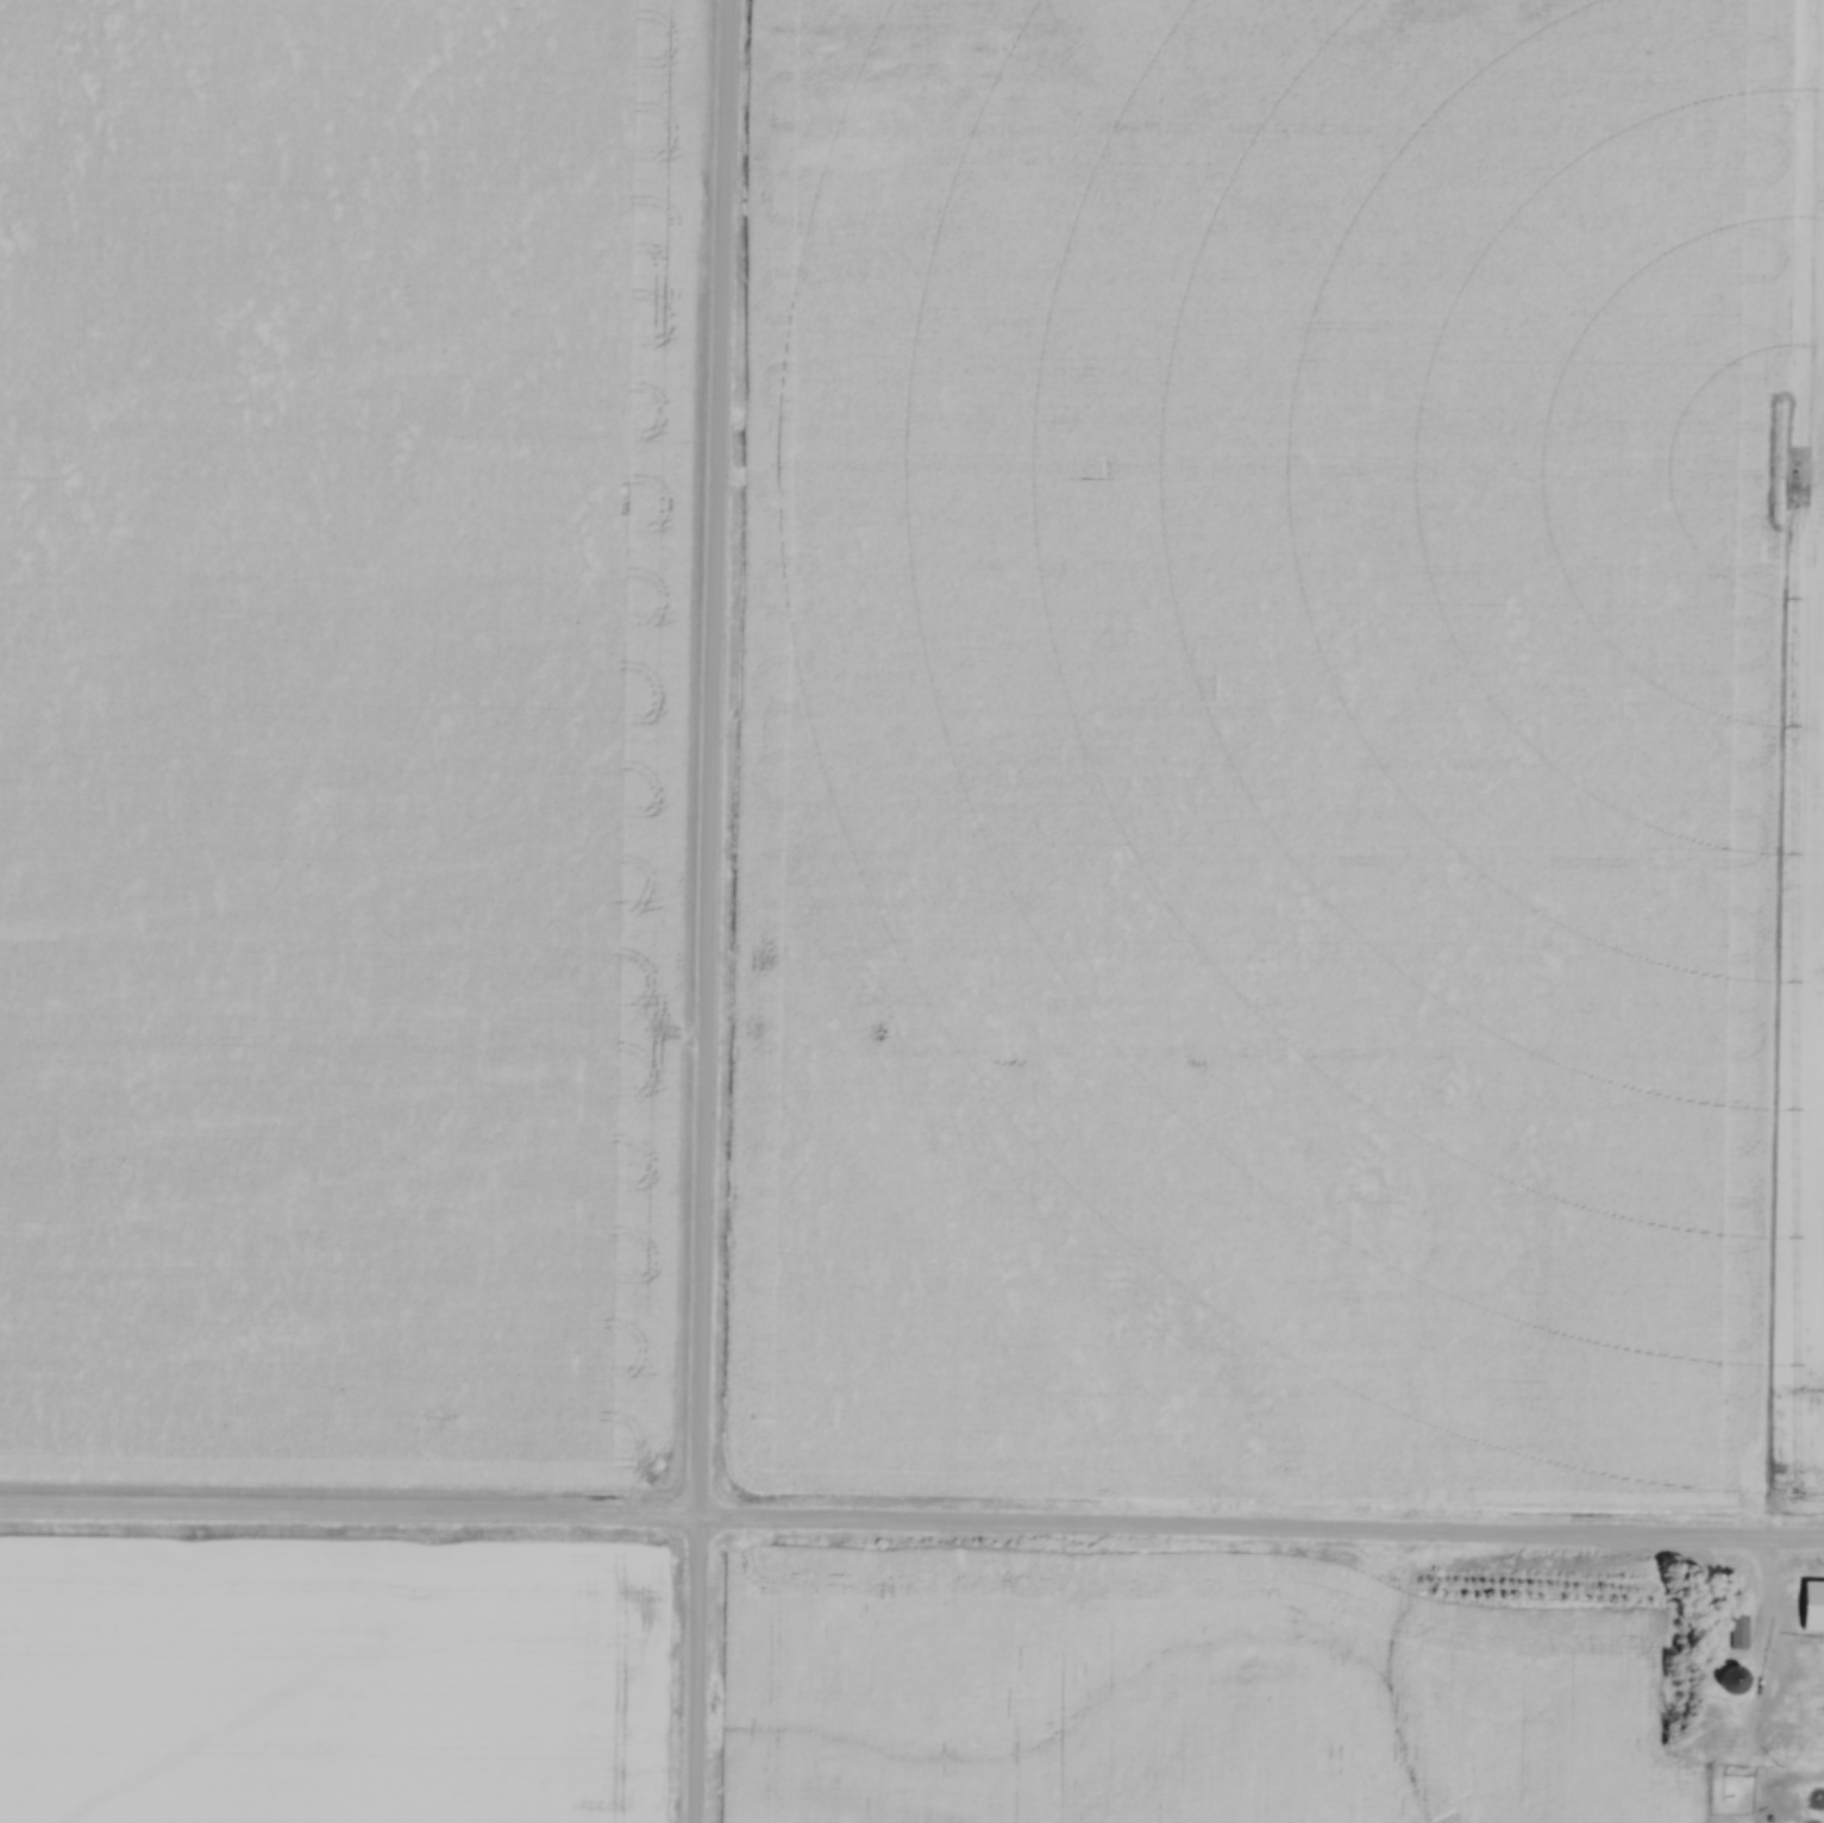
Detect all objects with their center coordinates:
road: (708, 910)
road: (911, 1528)
building: (1737, 1630)
road: (1769, 1647)
building: (1726, 1678)
building: (1728, 1822)

